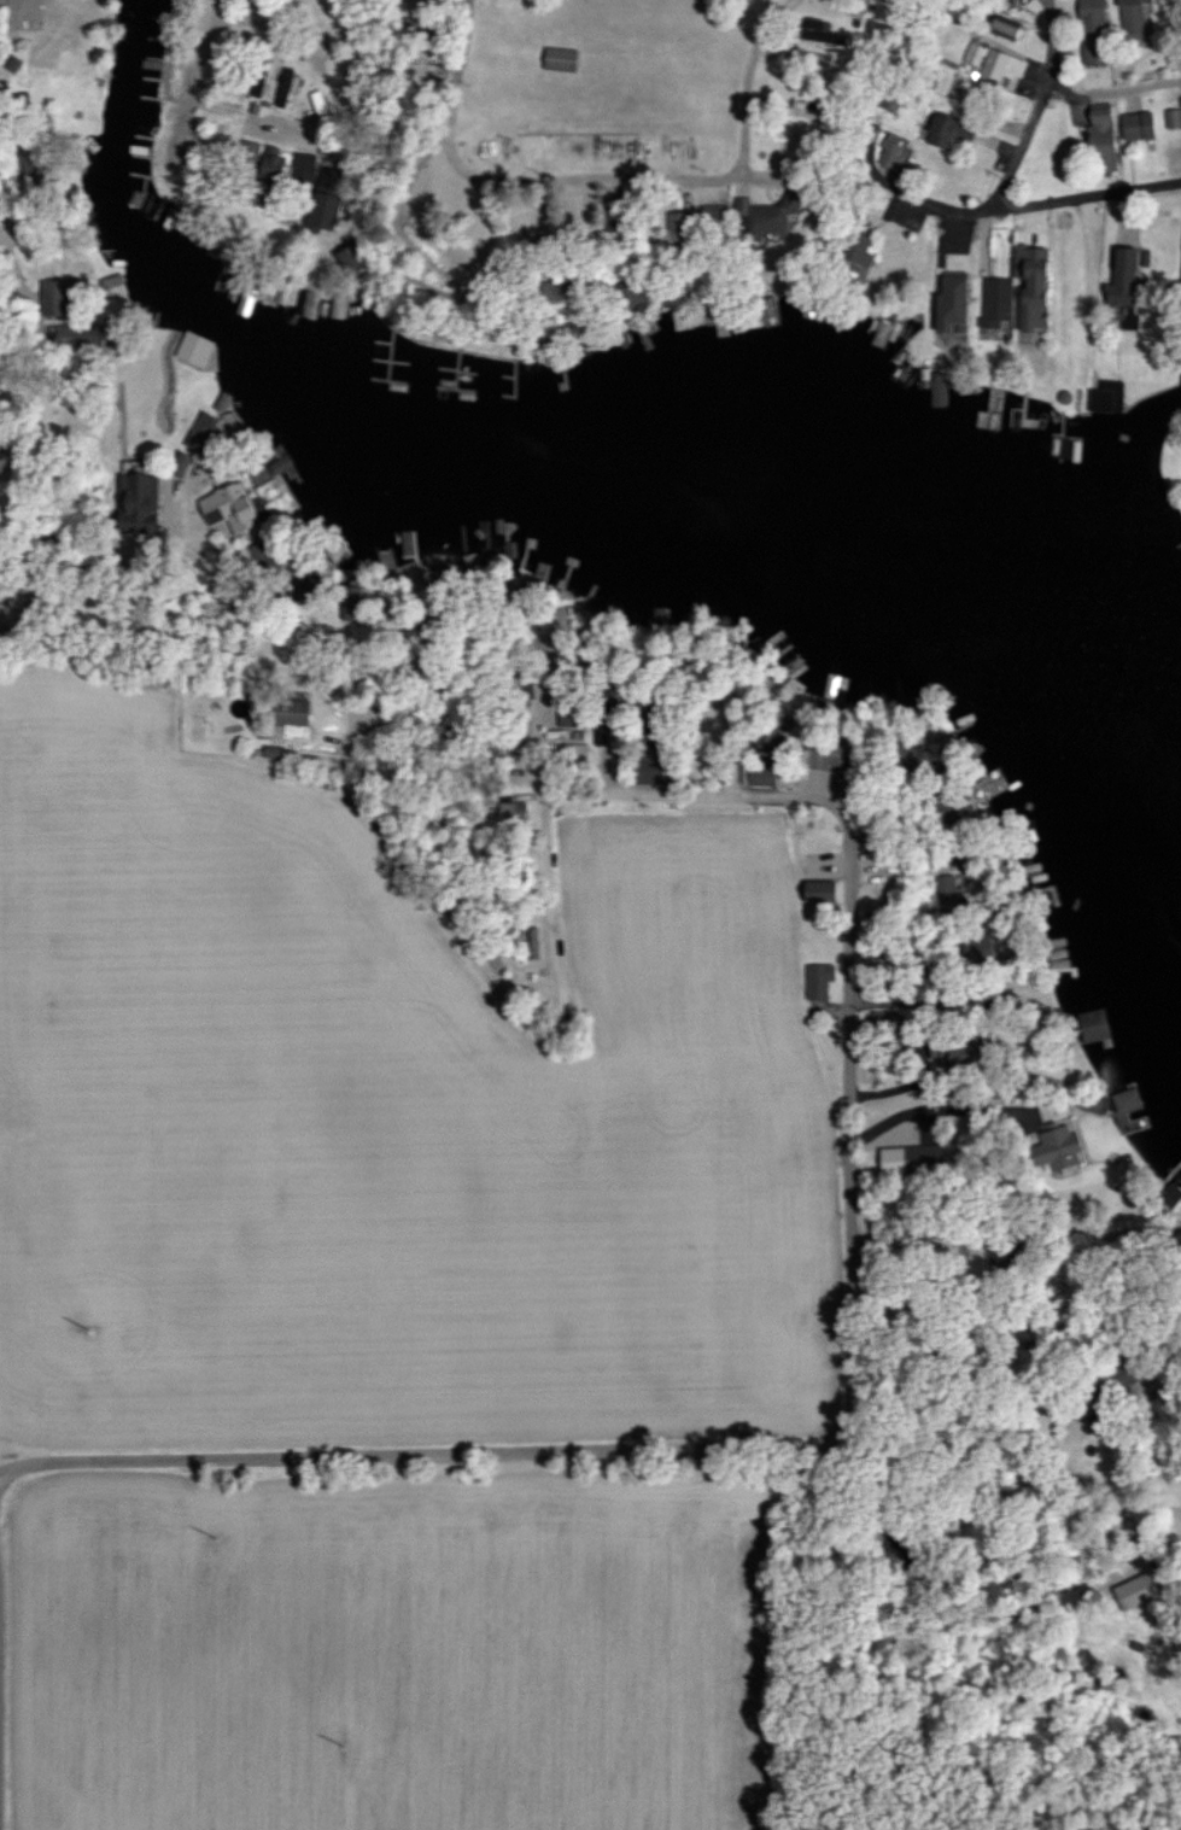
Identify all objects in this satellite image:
building: (1128, 12)
building: (1001, 24)
building: (1088, 31)
building: (815, 35)
building: (556, 59)
building: (992, 63)
road: (201, 72)
building: (945, 83)
building: (263, 86)
building: (286, 87)
building: (317, 104)
road: (993, 105)
building: (1173, 117)
building: (1134, 125)
building: (787, 133)
building: (943, 133)
building: (1098, 139)
building: (246, 151)
building: (889, 151)
building: (265, 160)
road: (1016, 162)
road: (607, 176)
road: (1088, 194)
road: (970, 209)
building: (708, 215)
building: (759, 217)
building: (674, 224)
building: (854, 250)
building: (1180, 277)
building: (111, 286)
building: (1118, 286)
building: (1028, 287)
building: (53, 296)
building: (994, 302)
road: (30, 304)
building: (302, 304)
building: (948, 304)
building: (192, 349)
building: (936, 394)
building: (1104, 397)
building: (220, 402)
building: (203, 433)
building: (176, 464)
building: (279, 466)
building: (134, 505)
road: (103, 565)
building: (350, 598)
building: (287, 713)
building: (758, 778)
building: (509, 813)
building: (814, 890)
building: (532, 942)
building: (972, 946)
road: (548, 961)
building: (817, 980)
building: (1089, 1024)
road: (967, 1107)
road: (863, 1144)
building: (1057, 1148)
building: (907, 1157)
building: (1168, 1194)
road: (396, 1454)
road: (971, 1512)
building: (1134, 1591)

